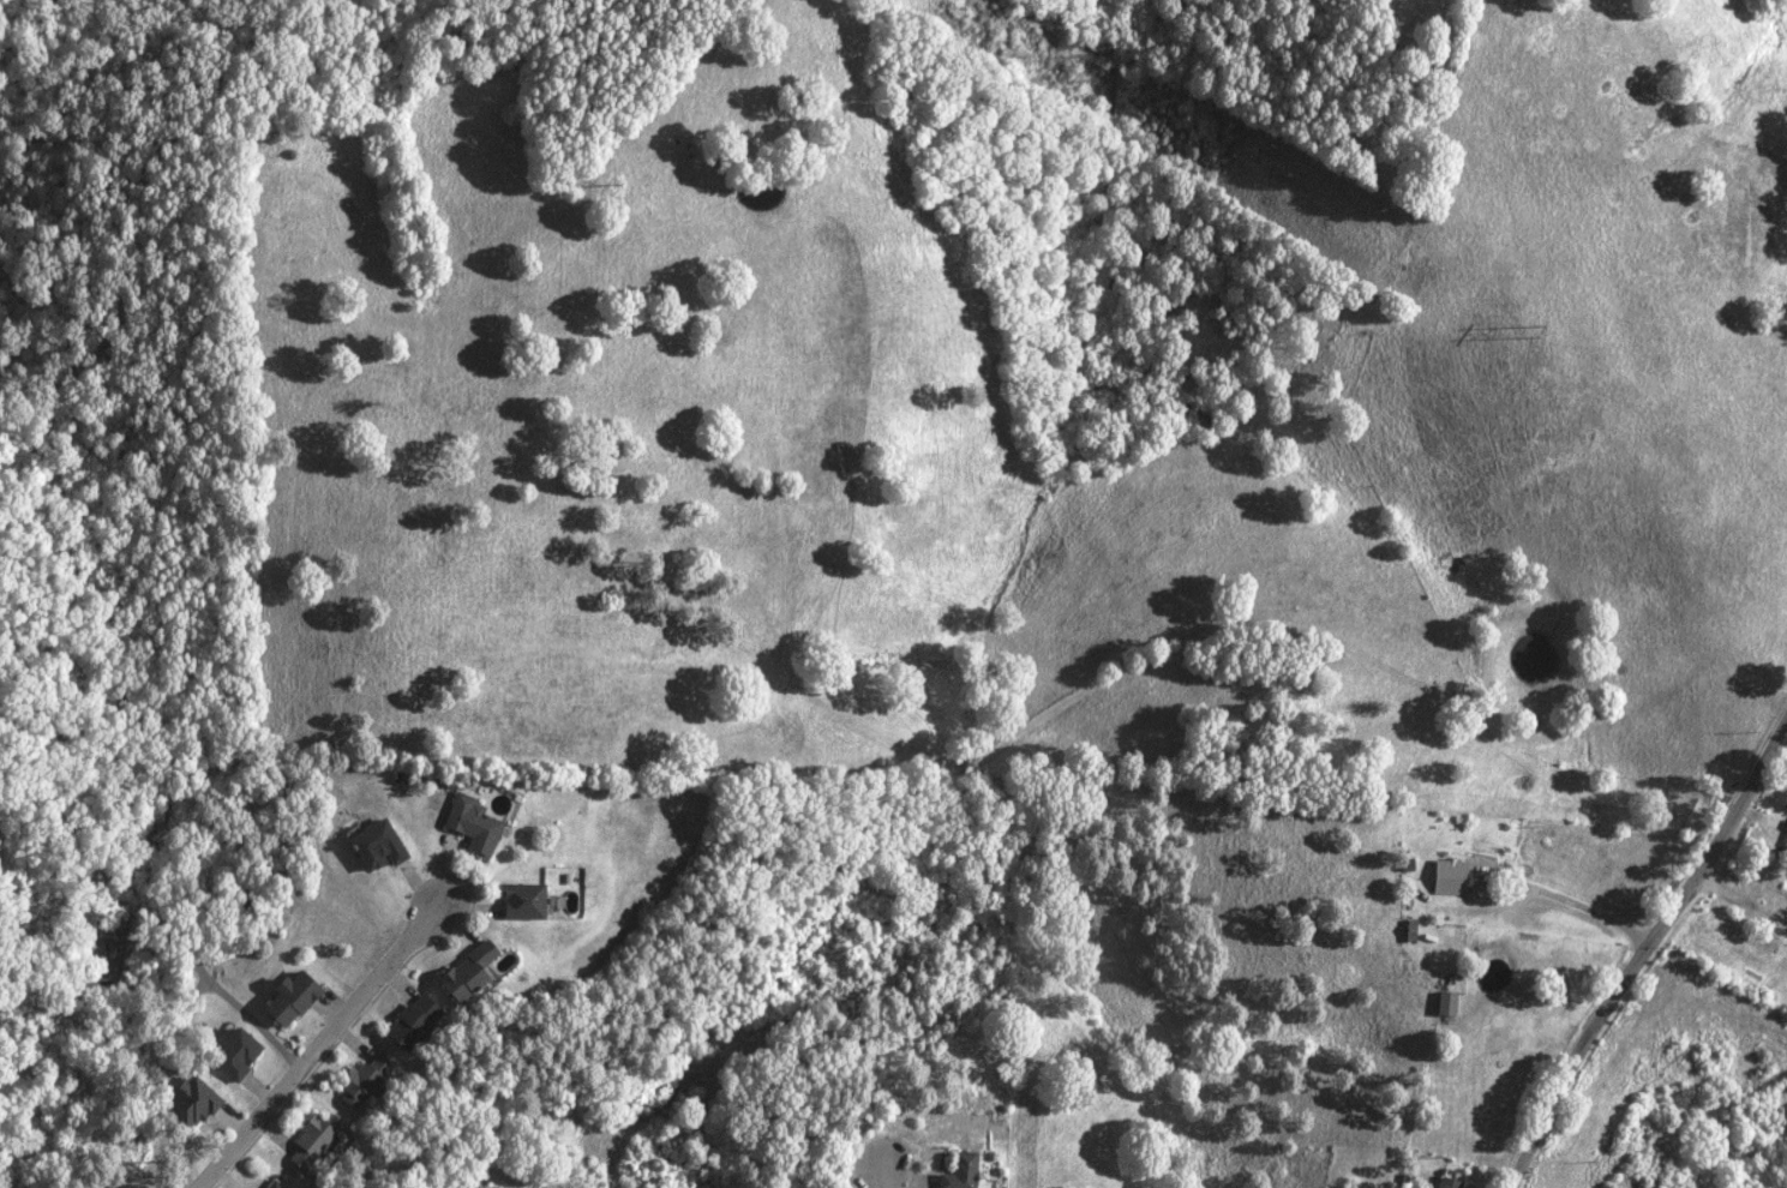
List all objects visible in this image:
power tower: (1533, 334)
building: (469, 823)
building: (1783, 836)
building: (373, 845)
building: (1446, 876)
building: (517, 900)
road: (1582, 906)
building: (1786, 935)
road: (1641, 949)
building: (462, 972)
building: (286, 997)
building: (1441, 1003)
building: (408, 1021)
road: (325, 1045)
building: (230, 1054)
building: (354, 1084)
building: (185, 1103)
building: (307, 1140)
building: (954, 1171)
road: (876, 1177)
building: (1444, 1182)
building: (270, 1184)
building: (242, 1187)

